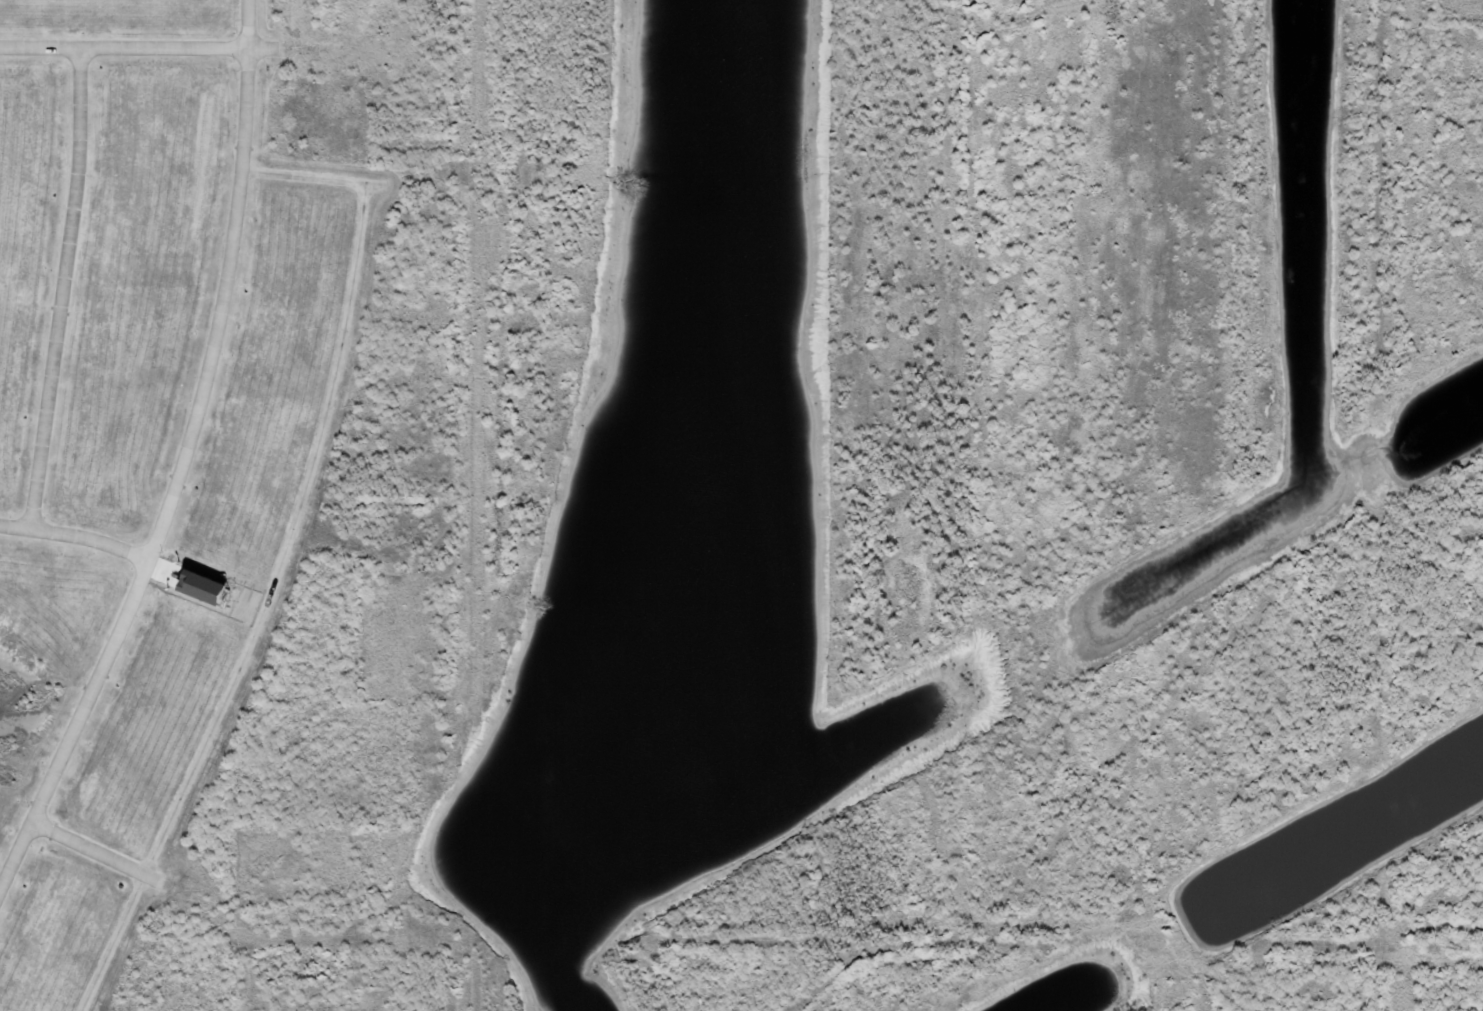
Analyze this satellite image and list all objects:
road: (123, 47)
road: (60, 287)
road: (179, 458)
road: (75, 534)
road: (285, 551)
building: (199, 588)
road: (87, 849)

